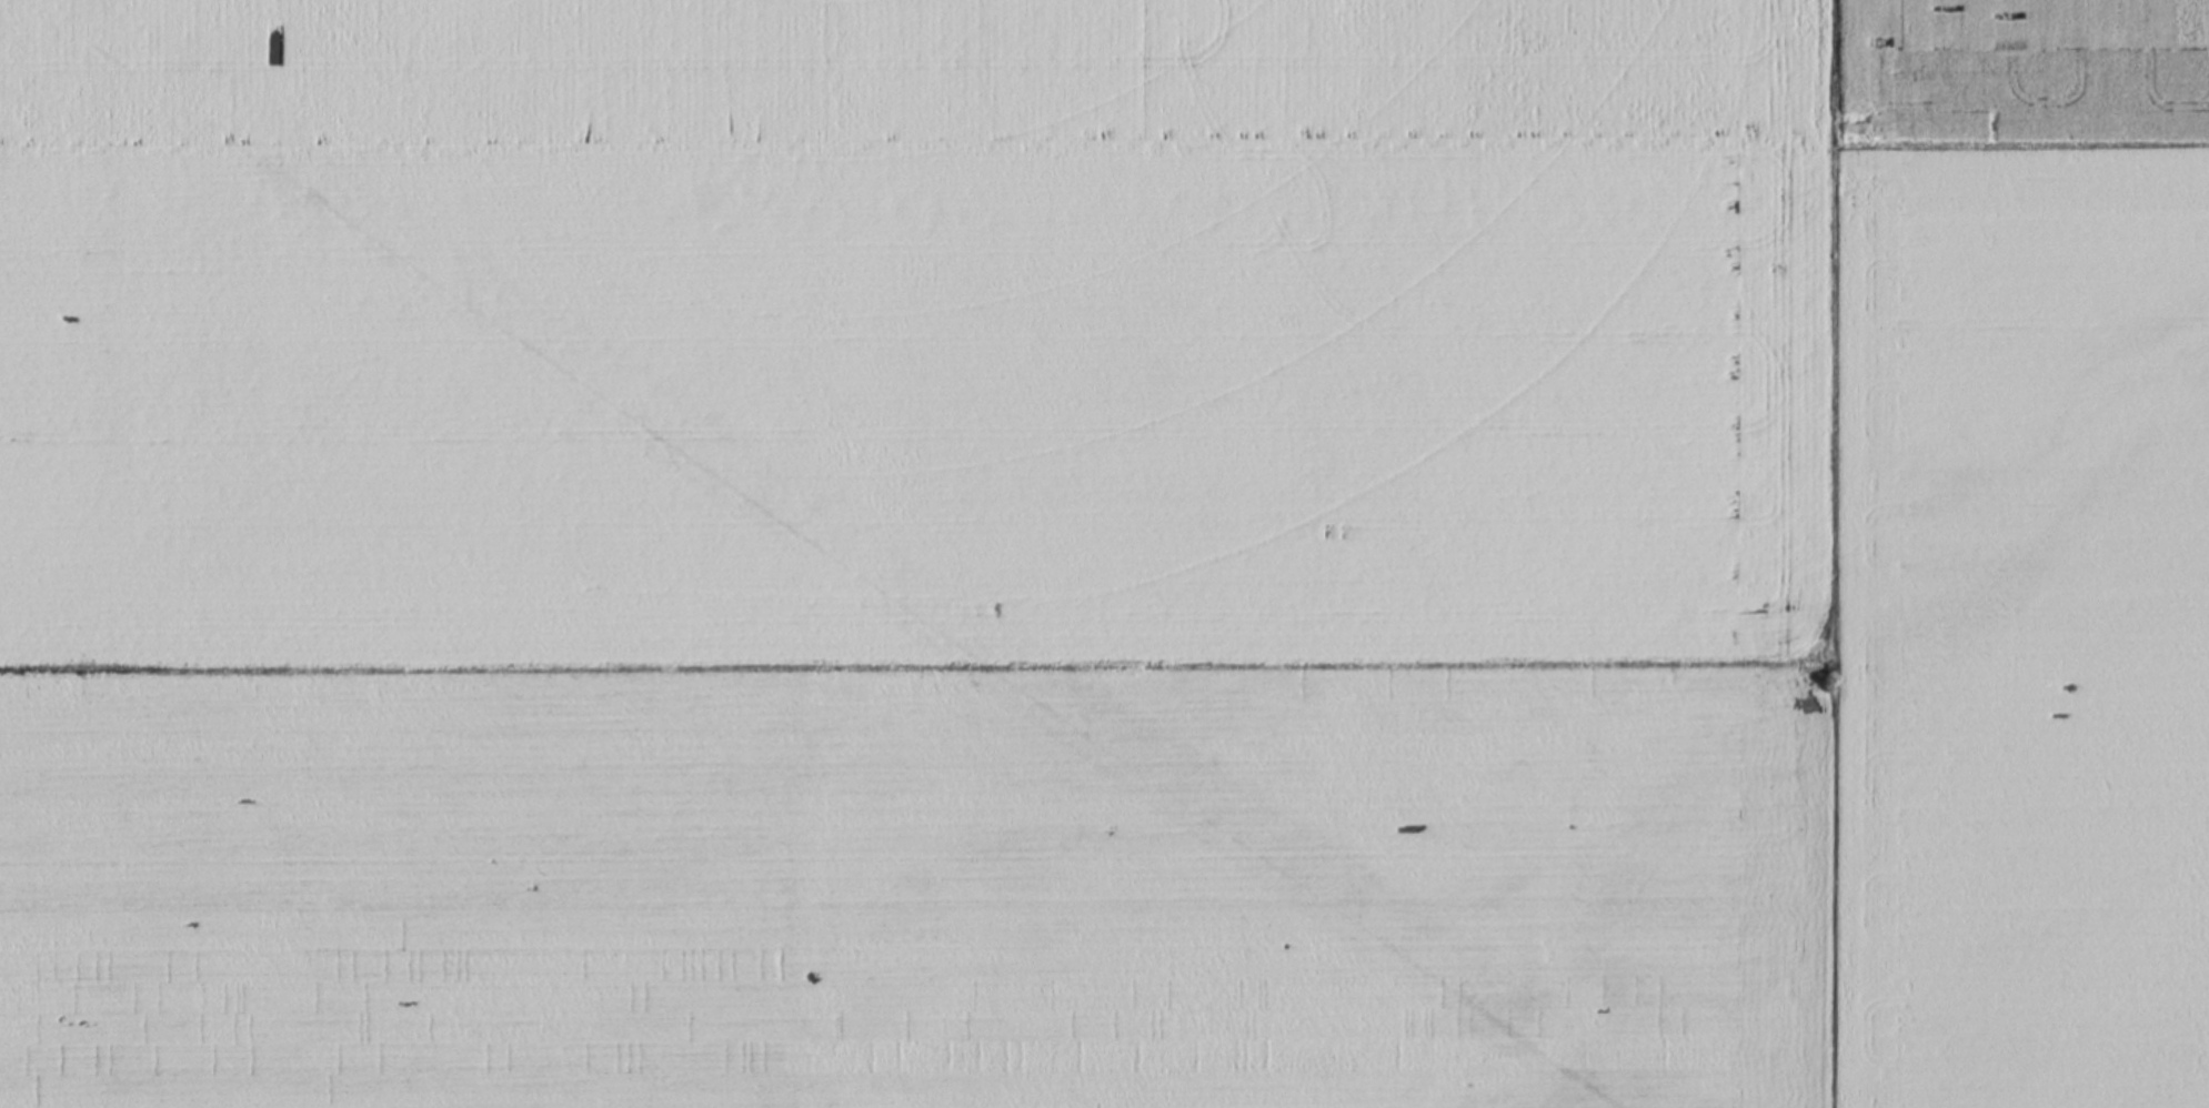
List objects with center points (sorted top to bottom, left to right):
crop: (2016, 63)
crop: (904, 64)
crop: (915, 402)
crop: (2019, 614)
crop: (916, 890)

